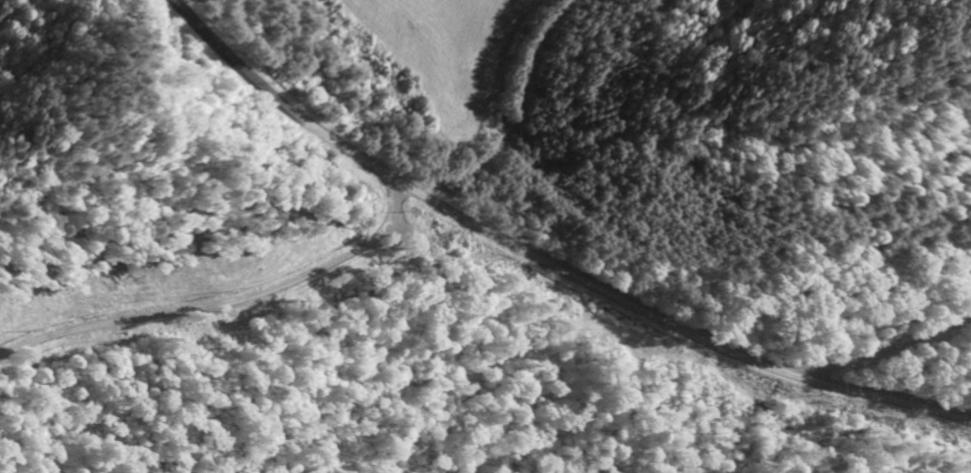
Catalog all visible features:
road: (274, 106)
road: (593, 283)
road: (220, 305)
road: (884, 351)
road: (883, 398)

